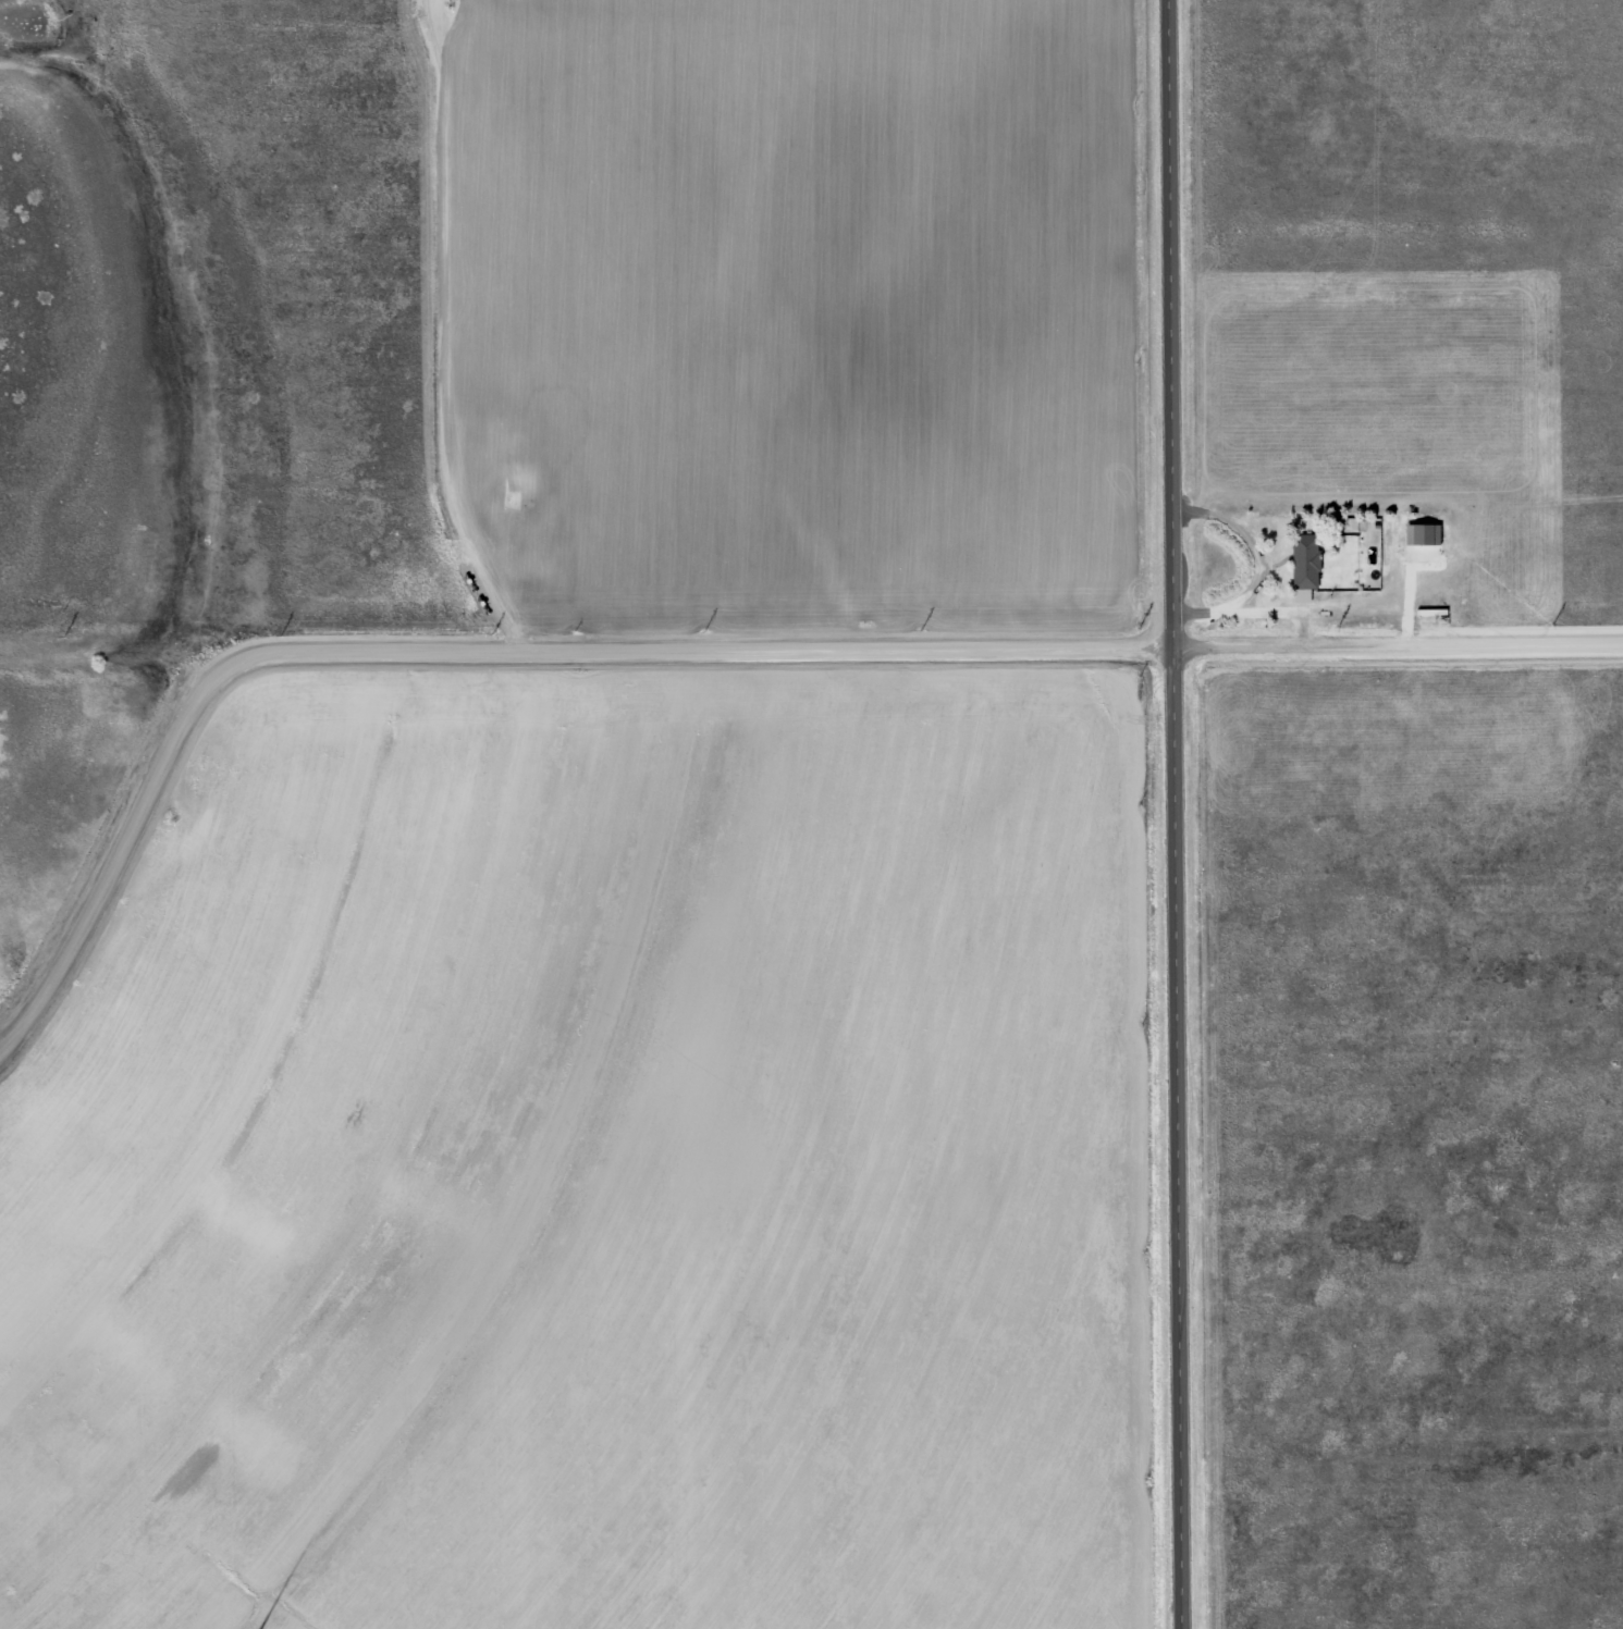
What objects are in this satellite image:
building: (1301, 568)
road: (722, 688)
road: (1214, 814)

